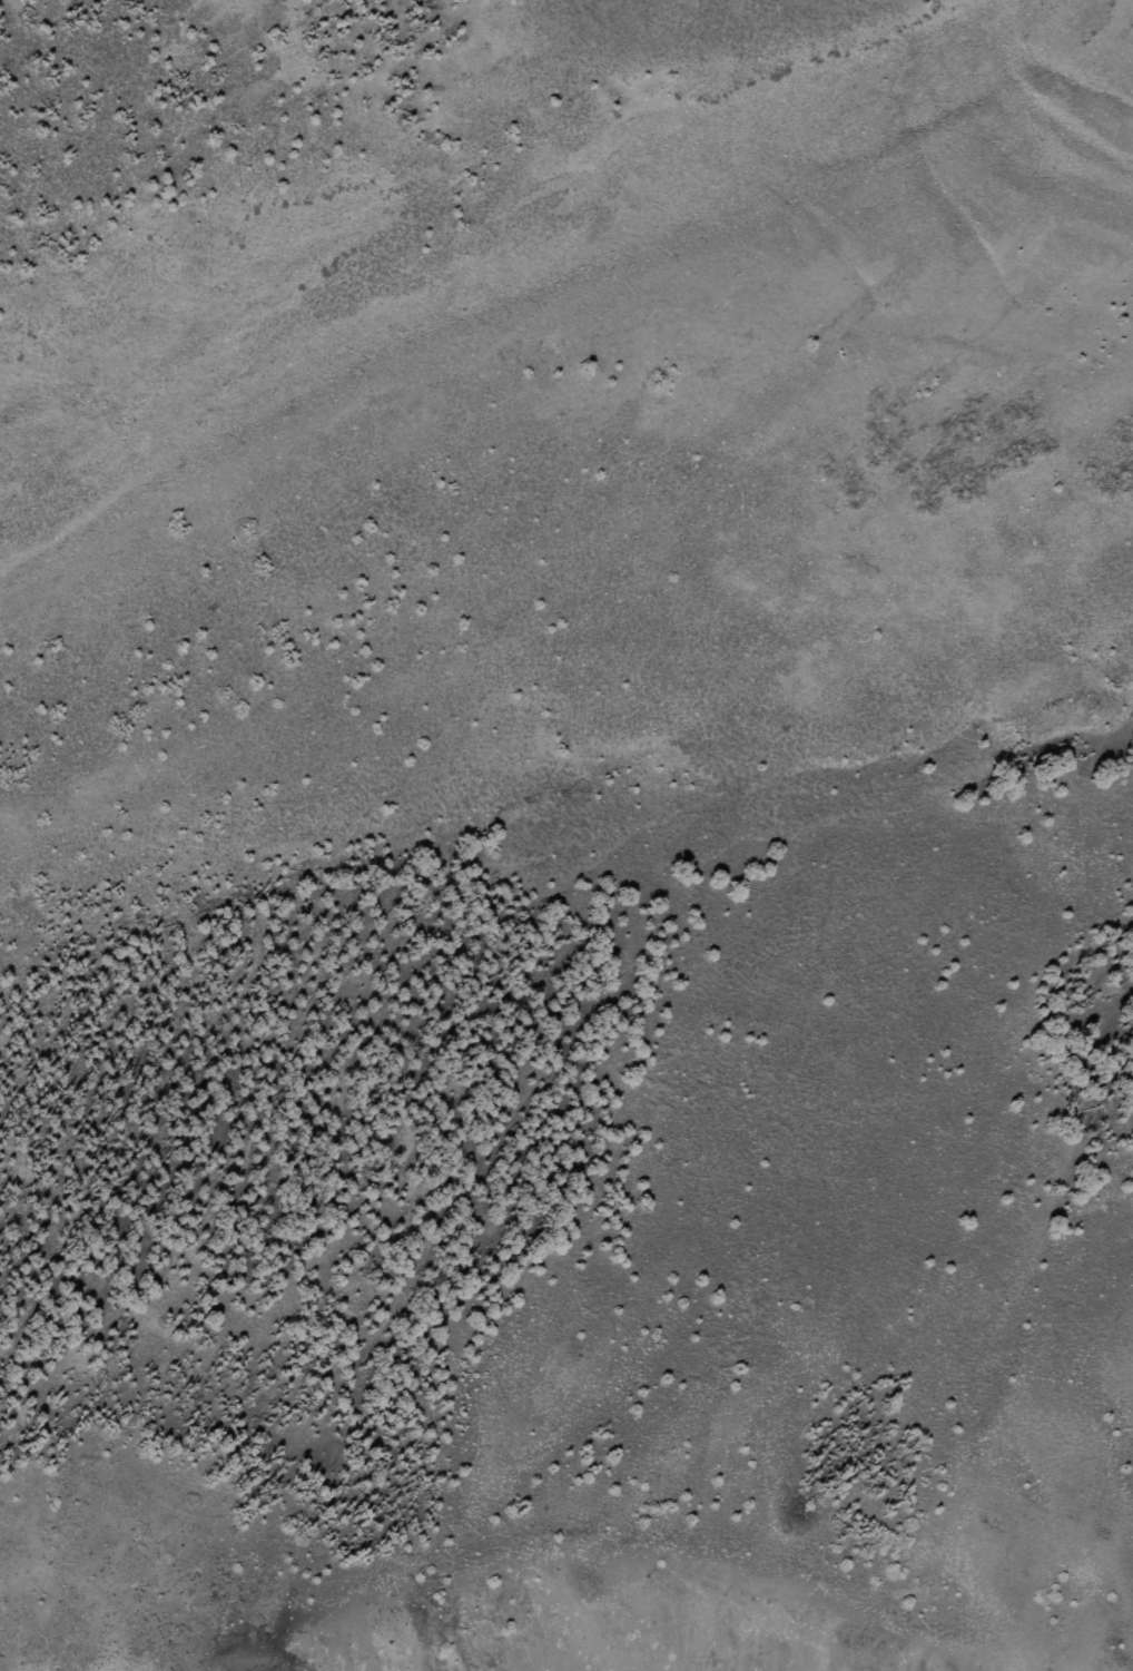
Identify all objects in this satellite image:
road: (706, 1657)

